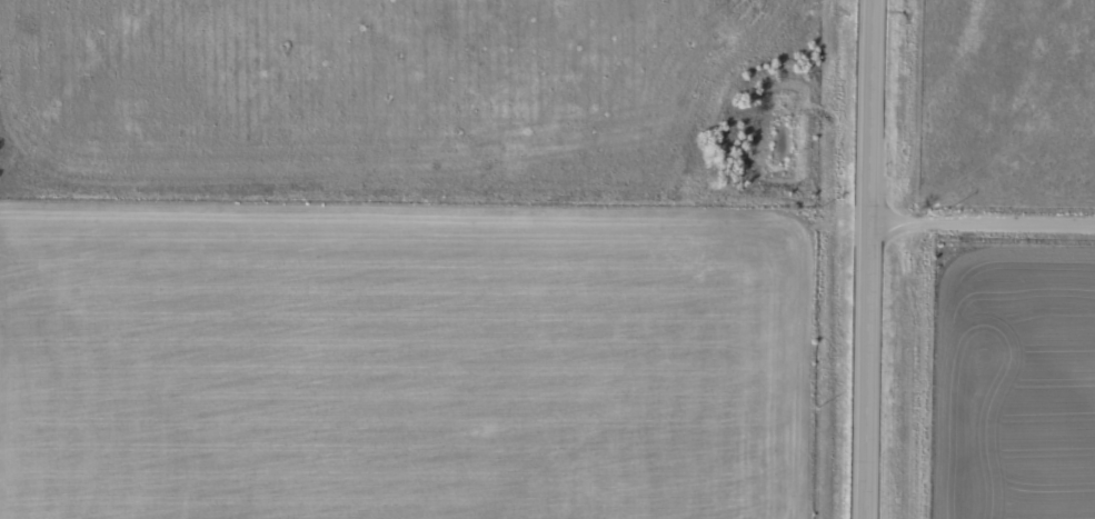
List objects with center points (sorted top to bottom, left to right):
road: (984, 230)
road: (872, 259)

